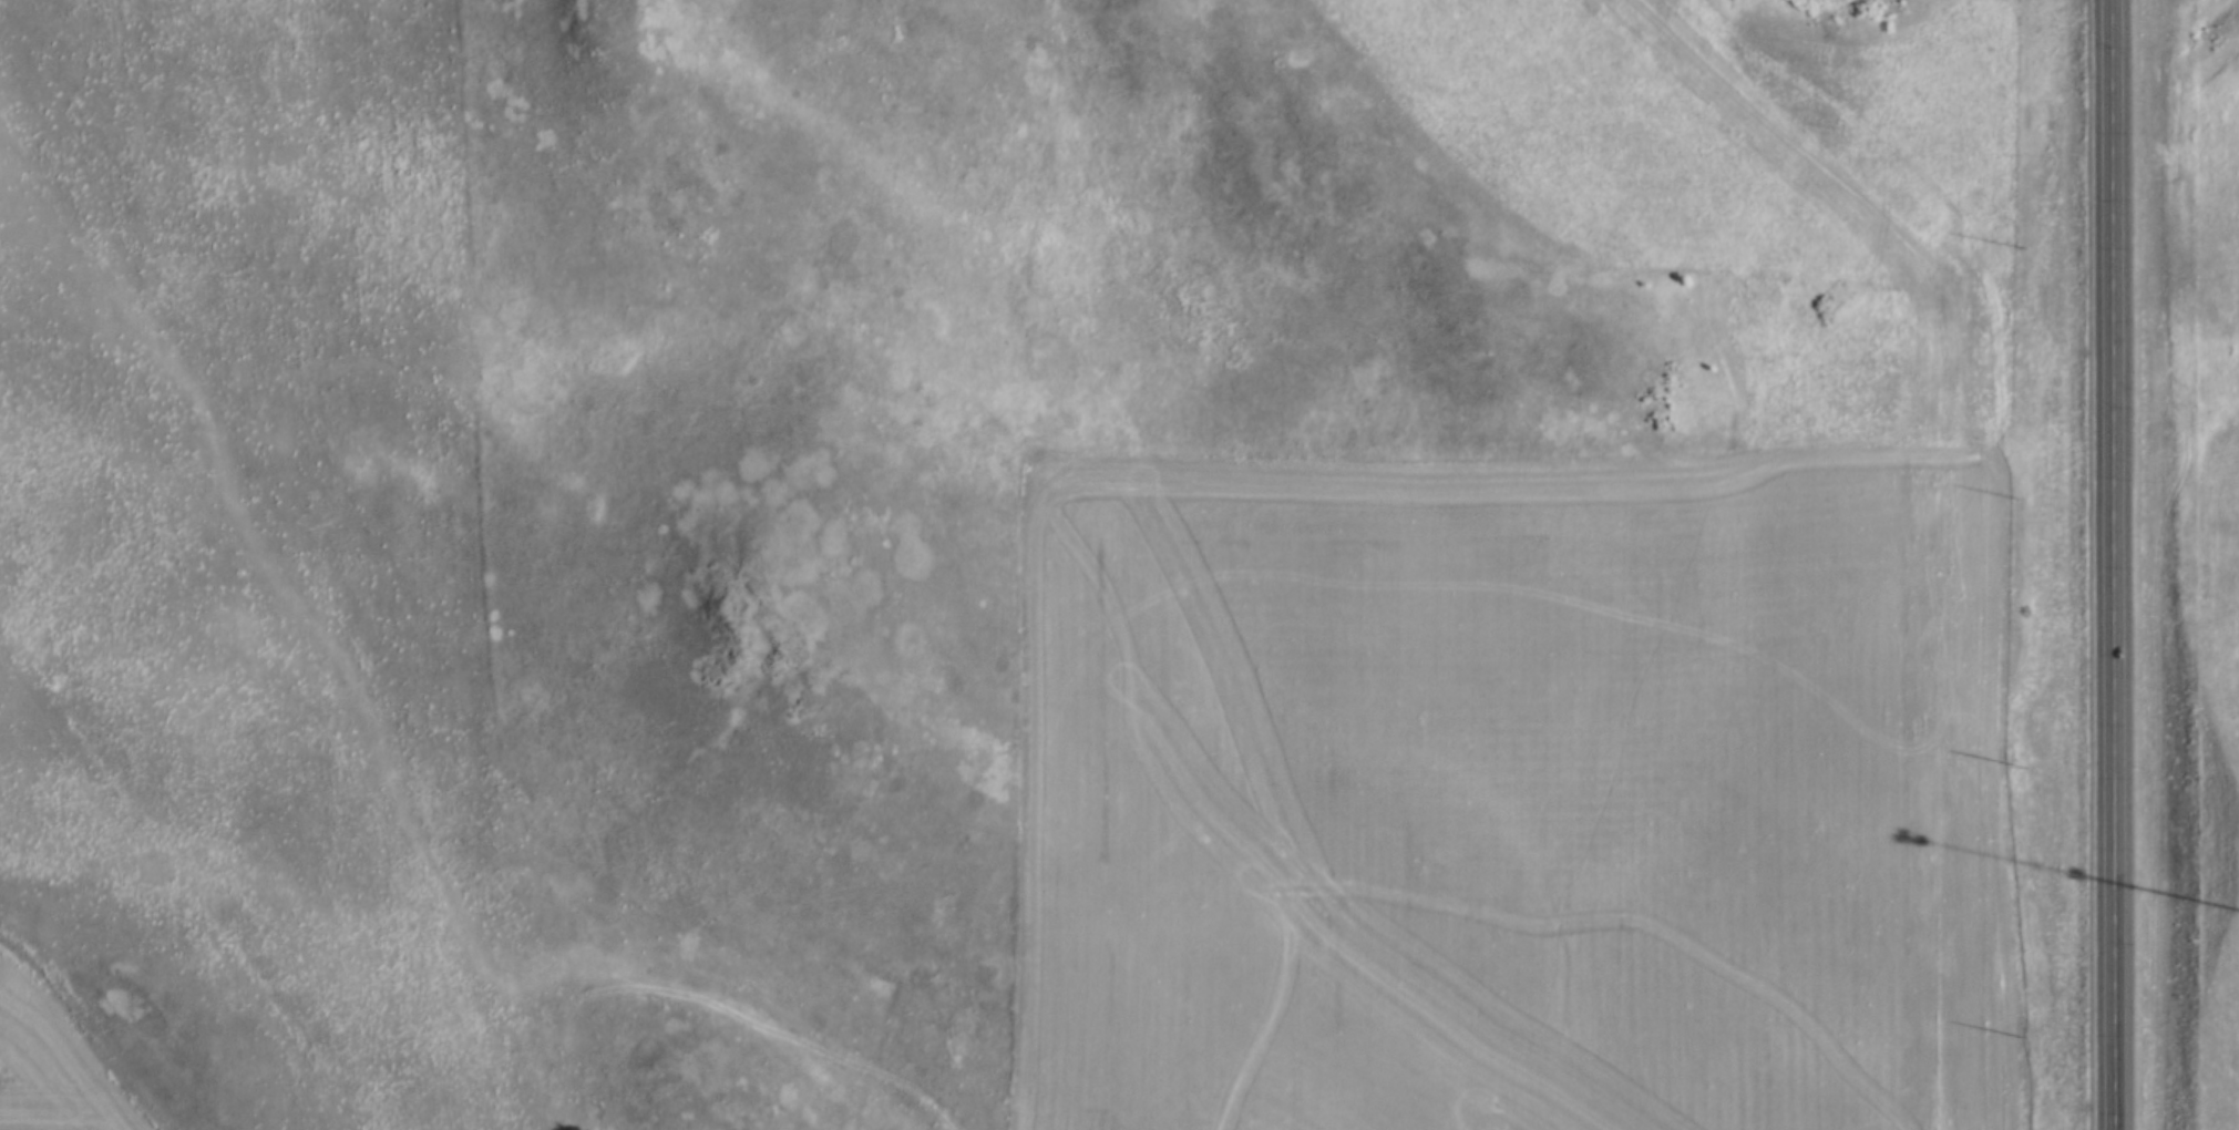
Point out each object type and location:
road: (2116, 565)

